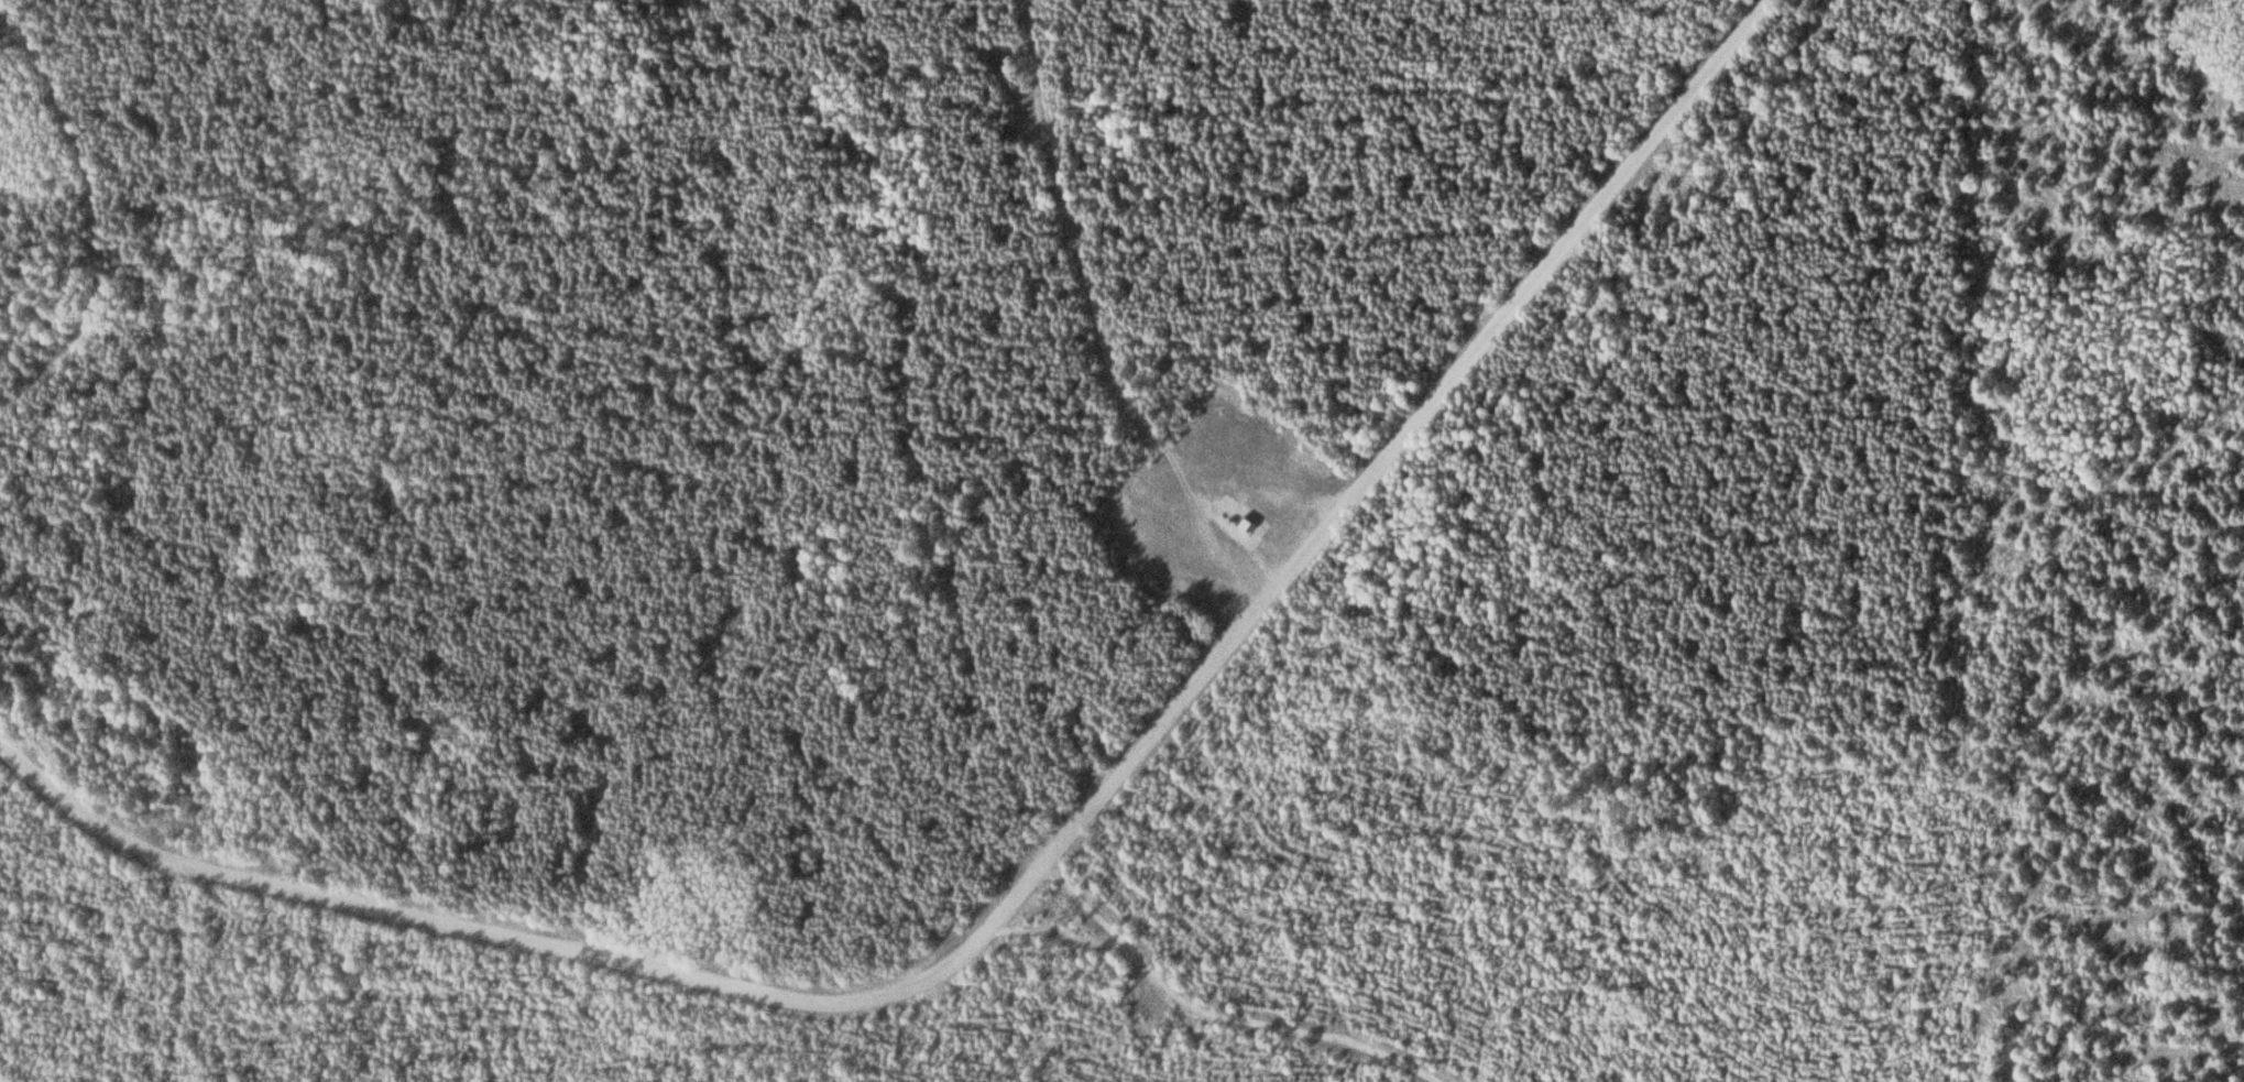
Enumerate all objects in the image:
road: (90, 217)
road: (1107, 313)
petroleum well: (1226, 523)
road: (1381, 689)
road: (1040, 864)
road: (1204, 1014)

